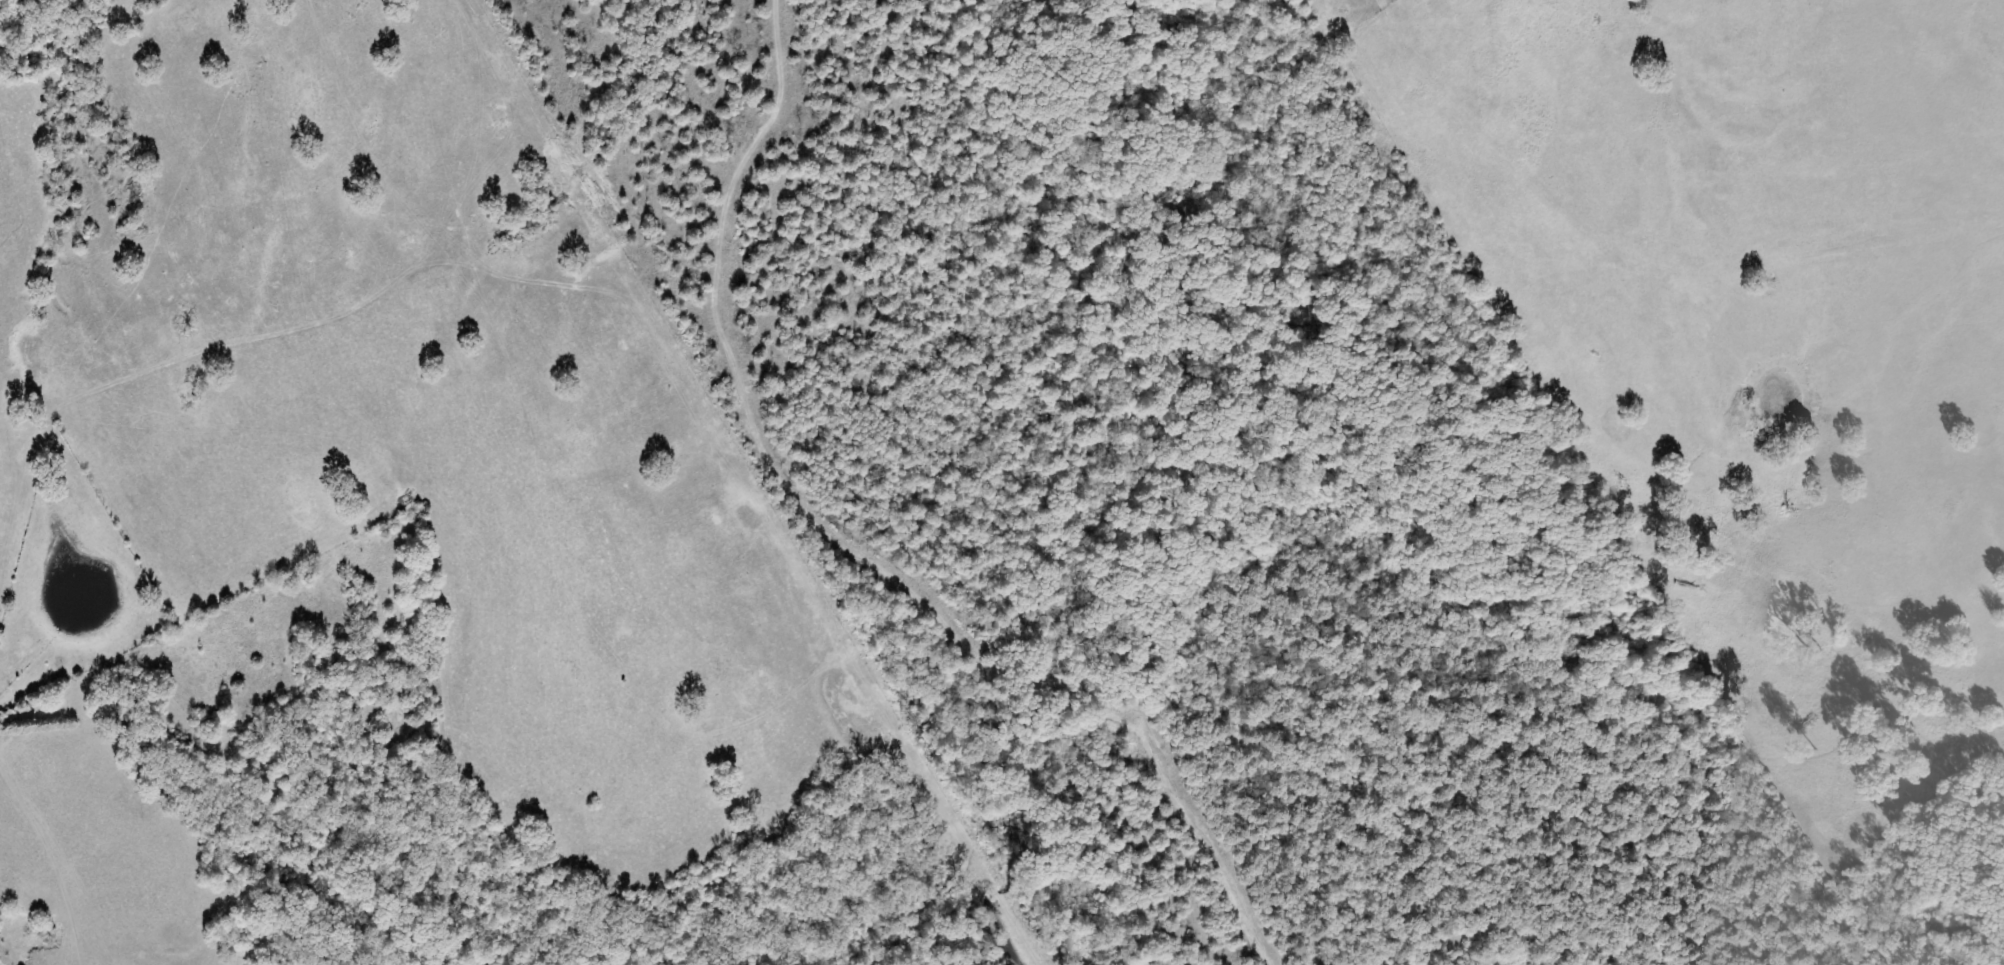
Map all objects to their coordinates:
road: (277, 292)
road: (55, 860)

